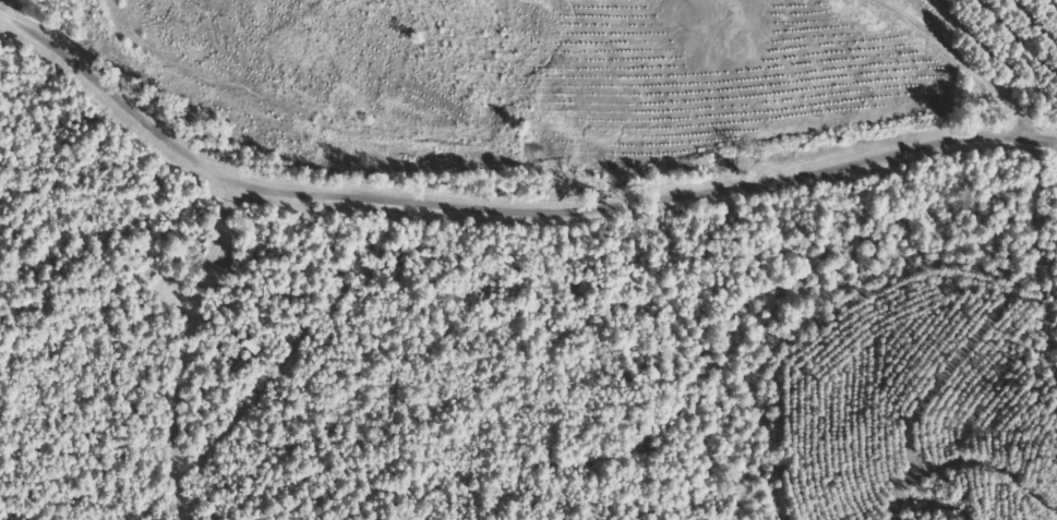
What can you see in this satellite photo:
road: (512, 205)

